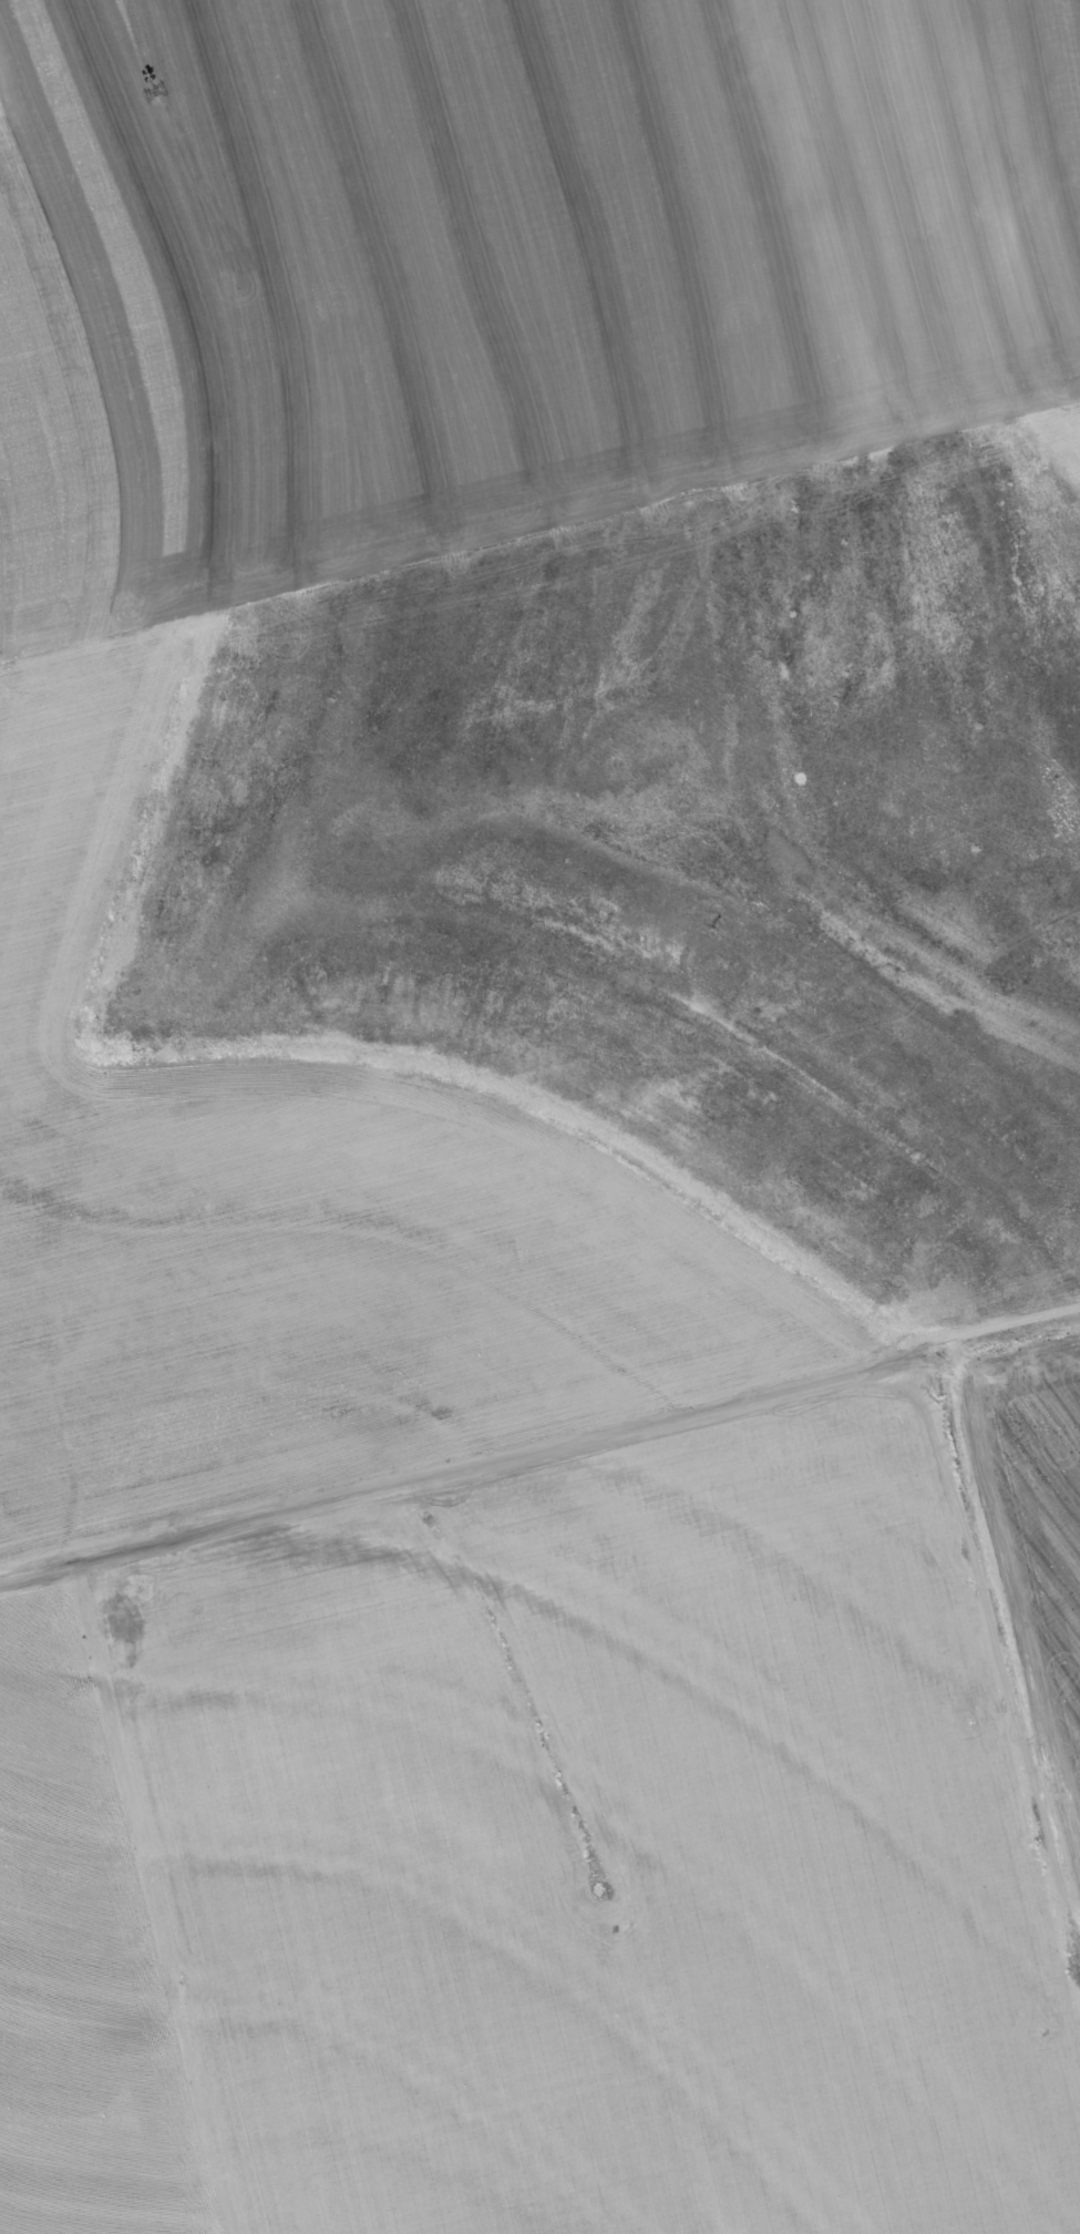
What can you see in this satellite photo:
road: (841, 1195)
road: (539, 1483)

